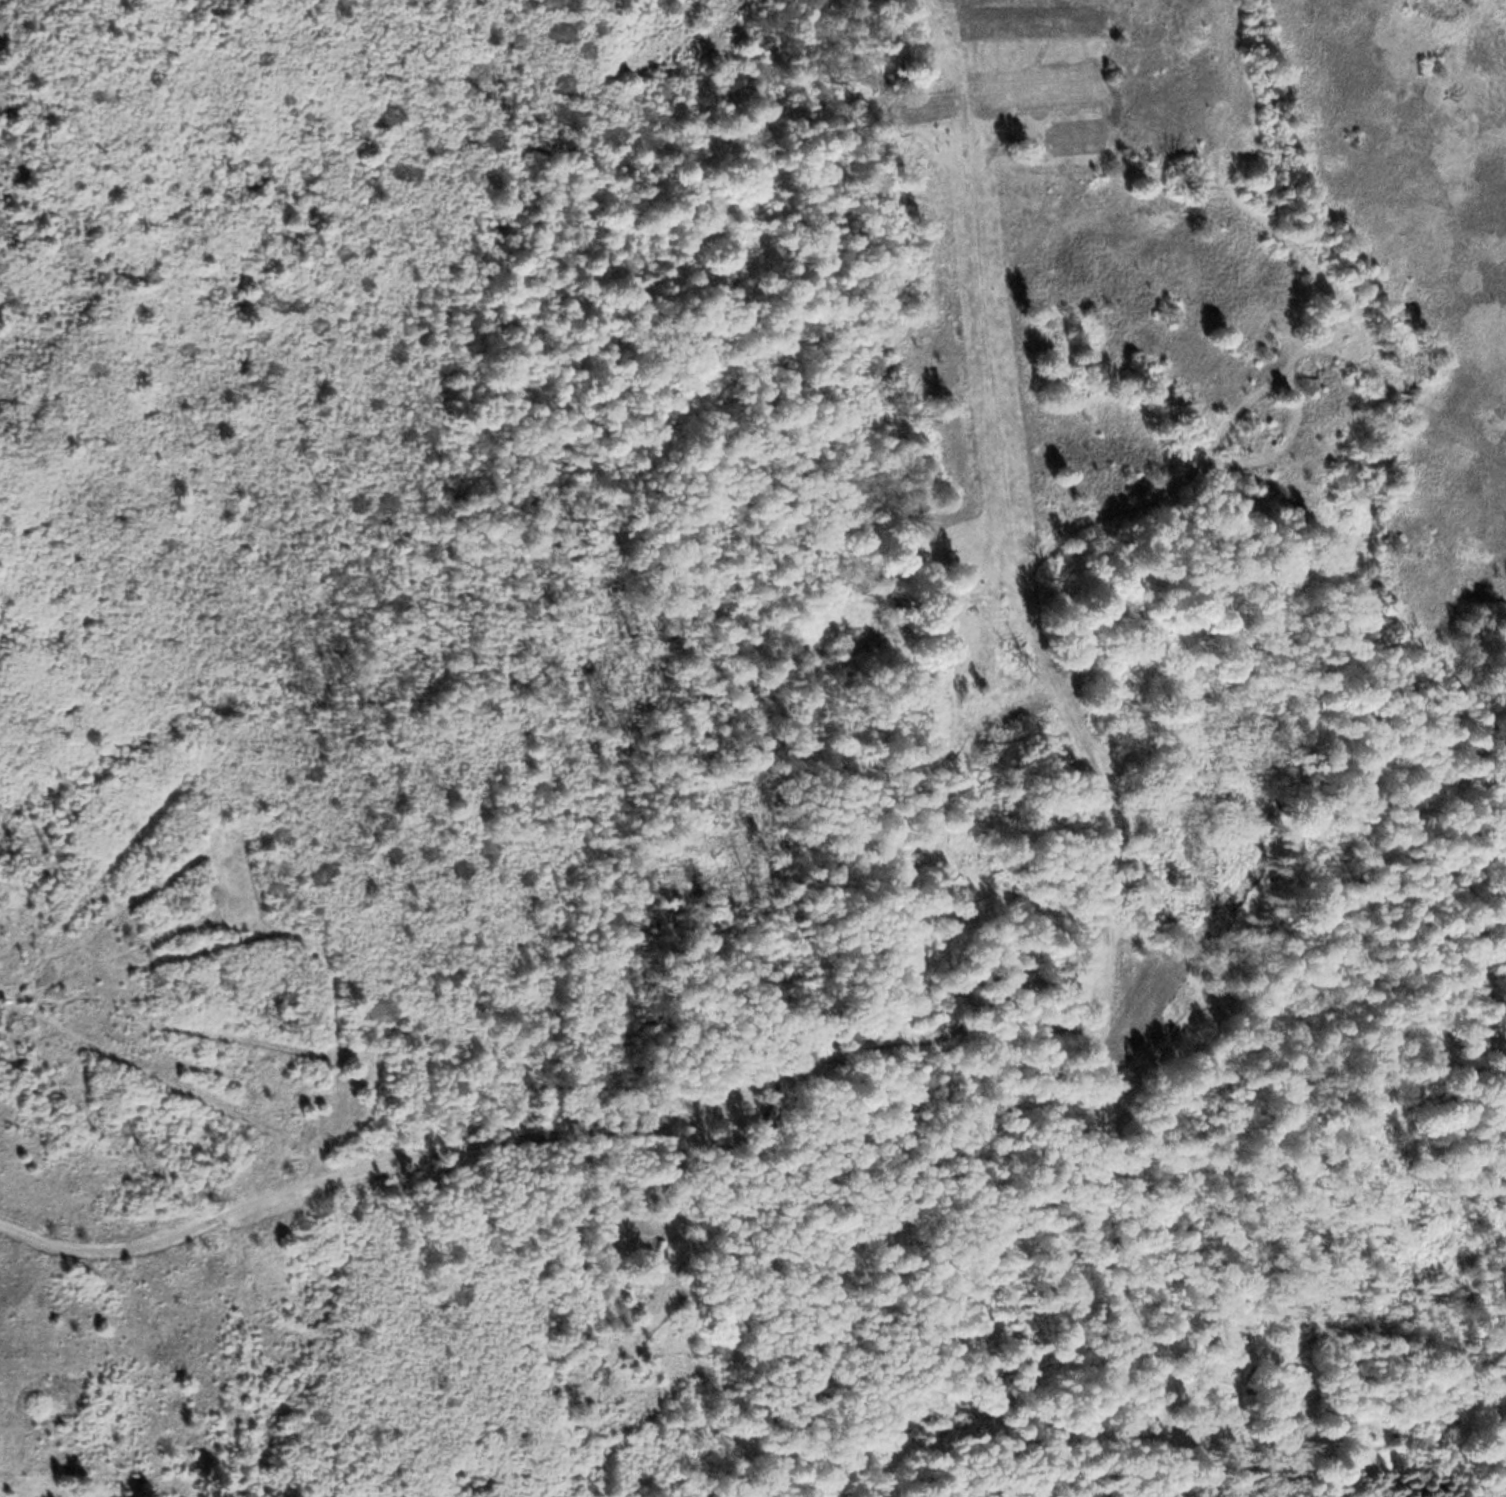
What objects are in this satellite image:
road: (468, 1146)

